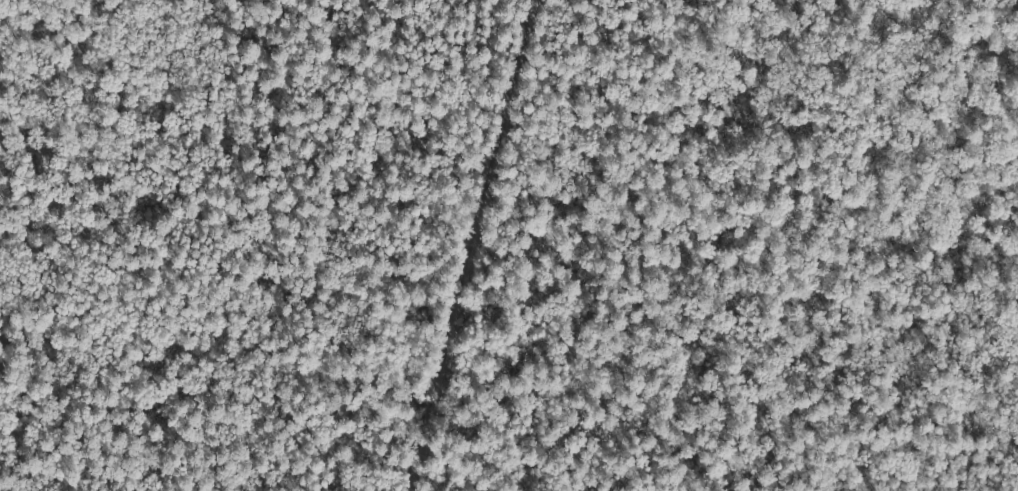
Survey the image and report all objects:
road: (474, 245)

